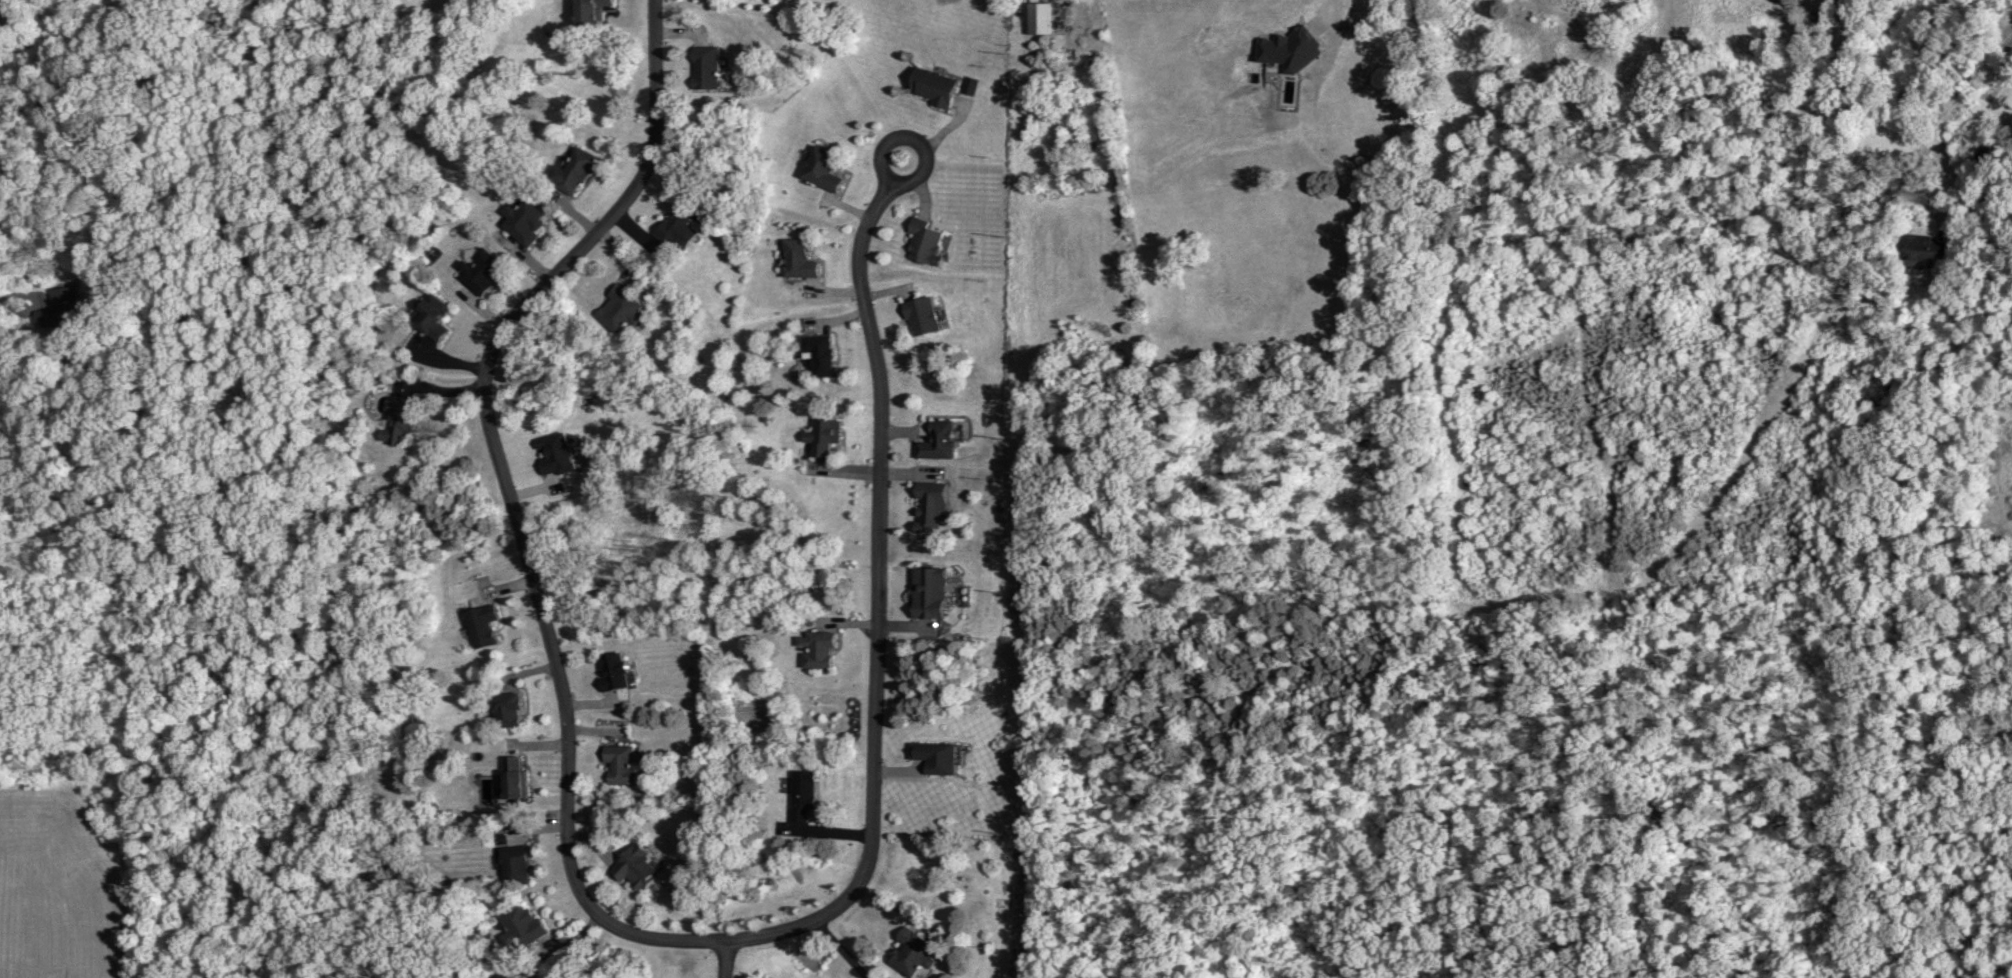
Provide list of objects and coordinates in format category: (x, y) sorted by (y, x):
building: (585, 11)
building: (702, 68)
building: (930, 84)
building: (820, 167)
building: (570, 170)
building: (522, 219)
building: (674, 228)
building: (922, 240)
building: (1917, 241)
building: (796, 258)
building: (477, 269)
building: (616, 308)
building: (919, 315)
building: (428, 316)
building: (51, 318)
building: (817, 353)
building: (393, 421)
building: (819, 434)
building: (935, 440)
building: (551, 453)
building: (926, 506)
building: (924, 592)
building: (480, 625)
building: (815, 649)
building: (610, 671)
building: (503, 709)
building: (619, 763)
building: (510, 776)
building: (800, 796)
building: (513, 865)
building: (632, 866)
road: (608, 921)
building: (520, 924)
building: (911, 952)
road: (723, 958)

